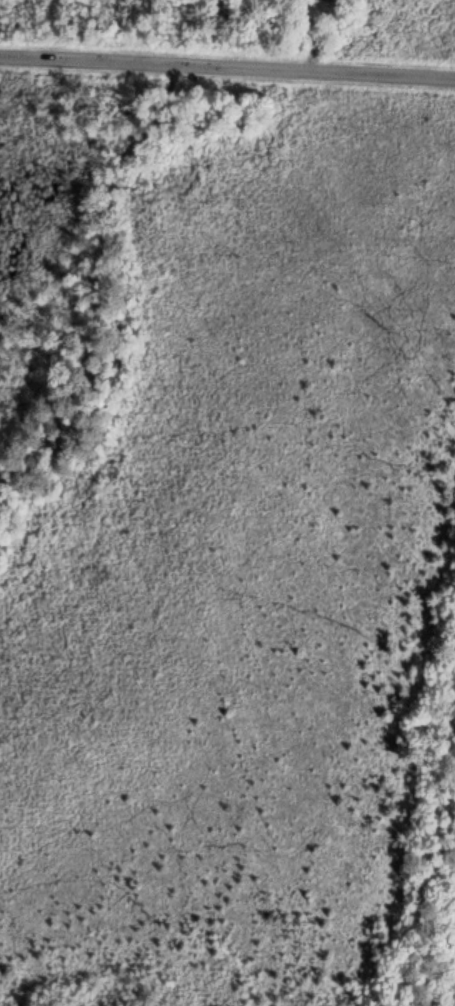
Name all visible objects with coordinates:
road: (227, 65)

